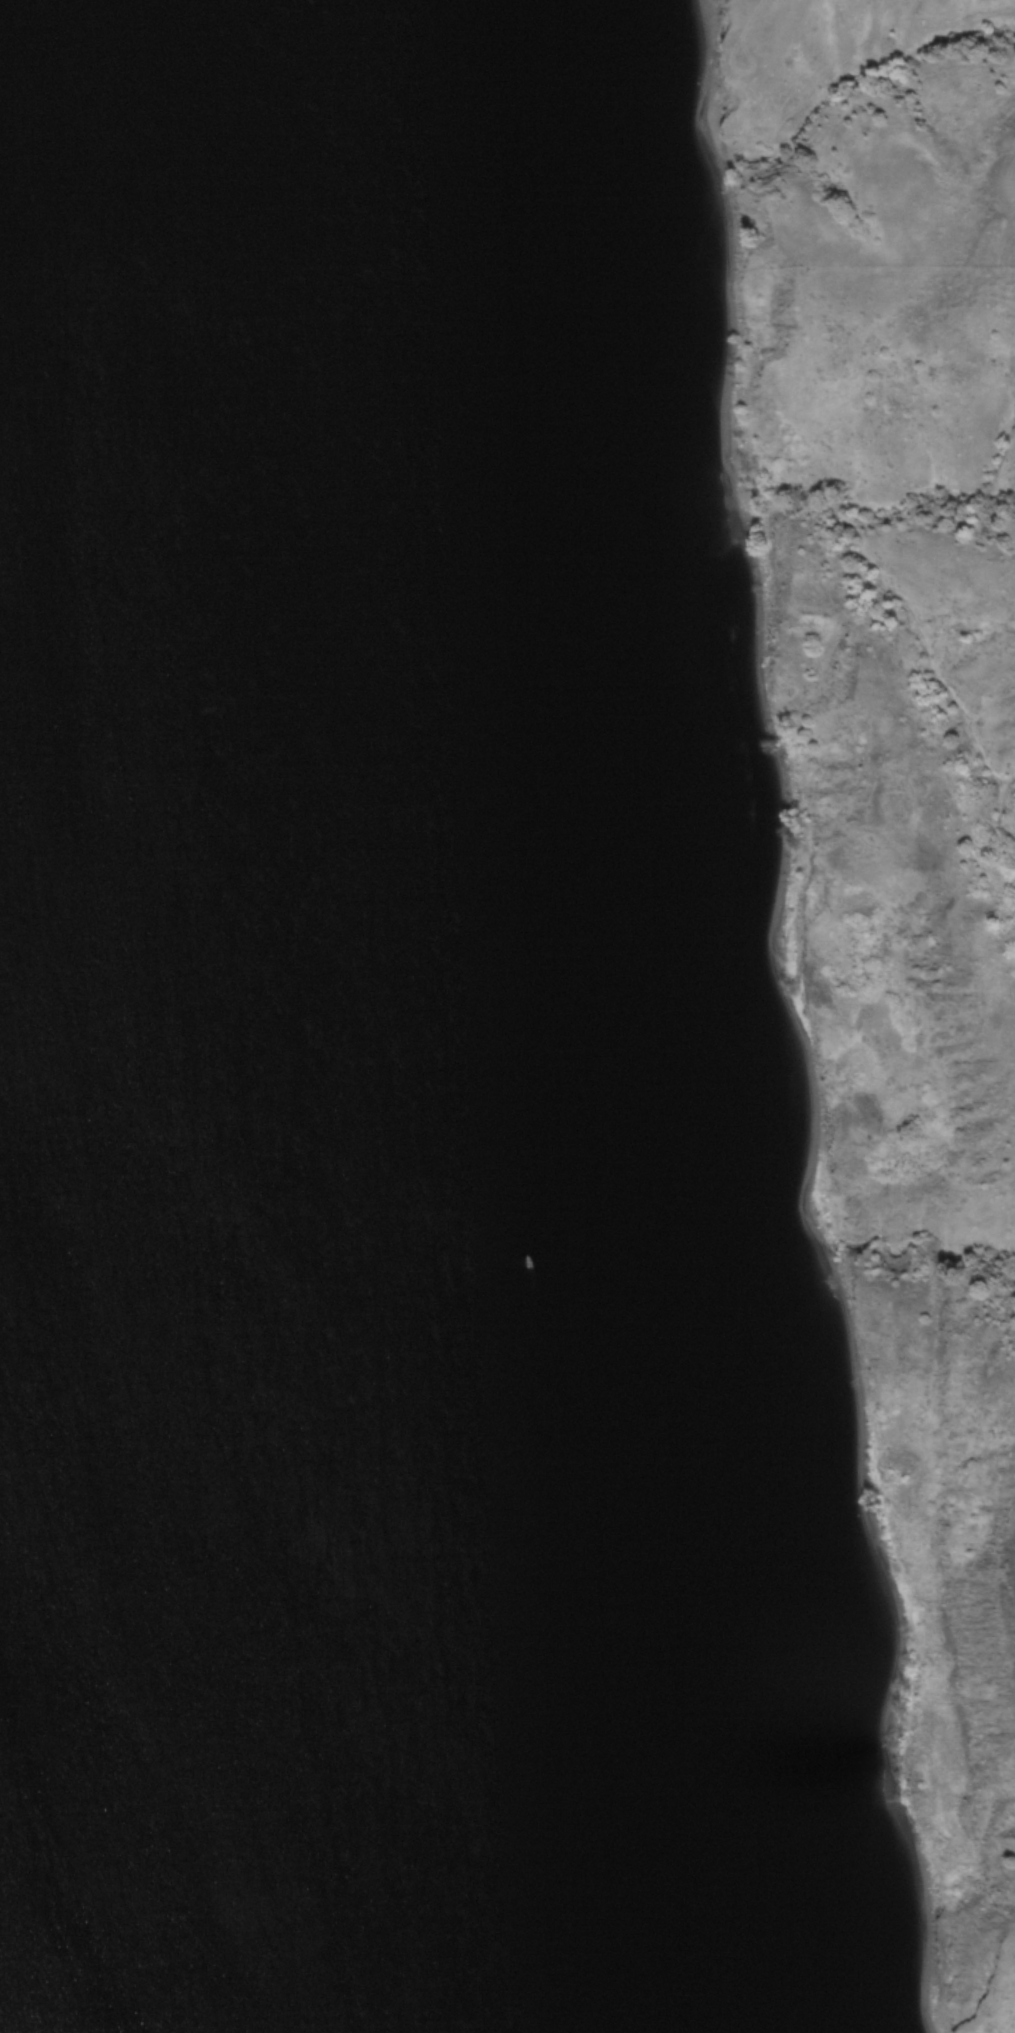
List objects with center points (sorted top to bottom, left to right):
river: (142, 1016)

